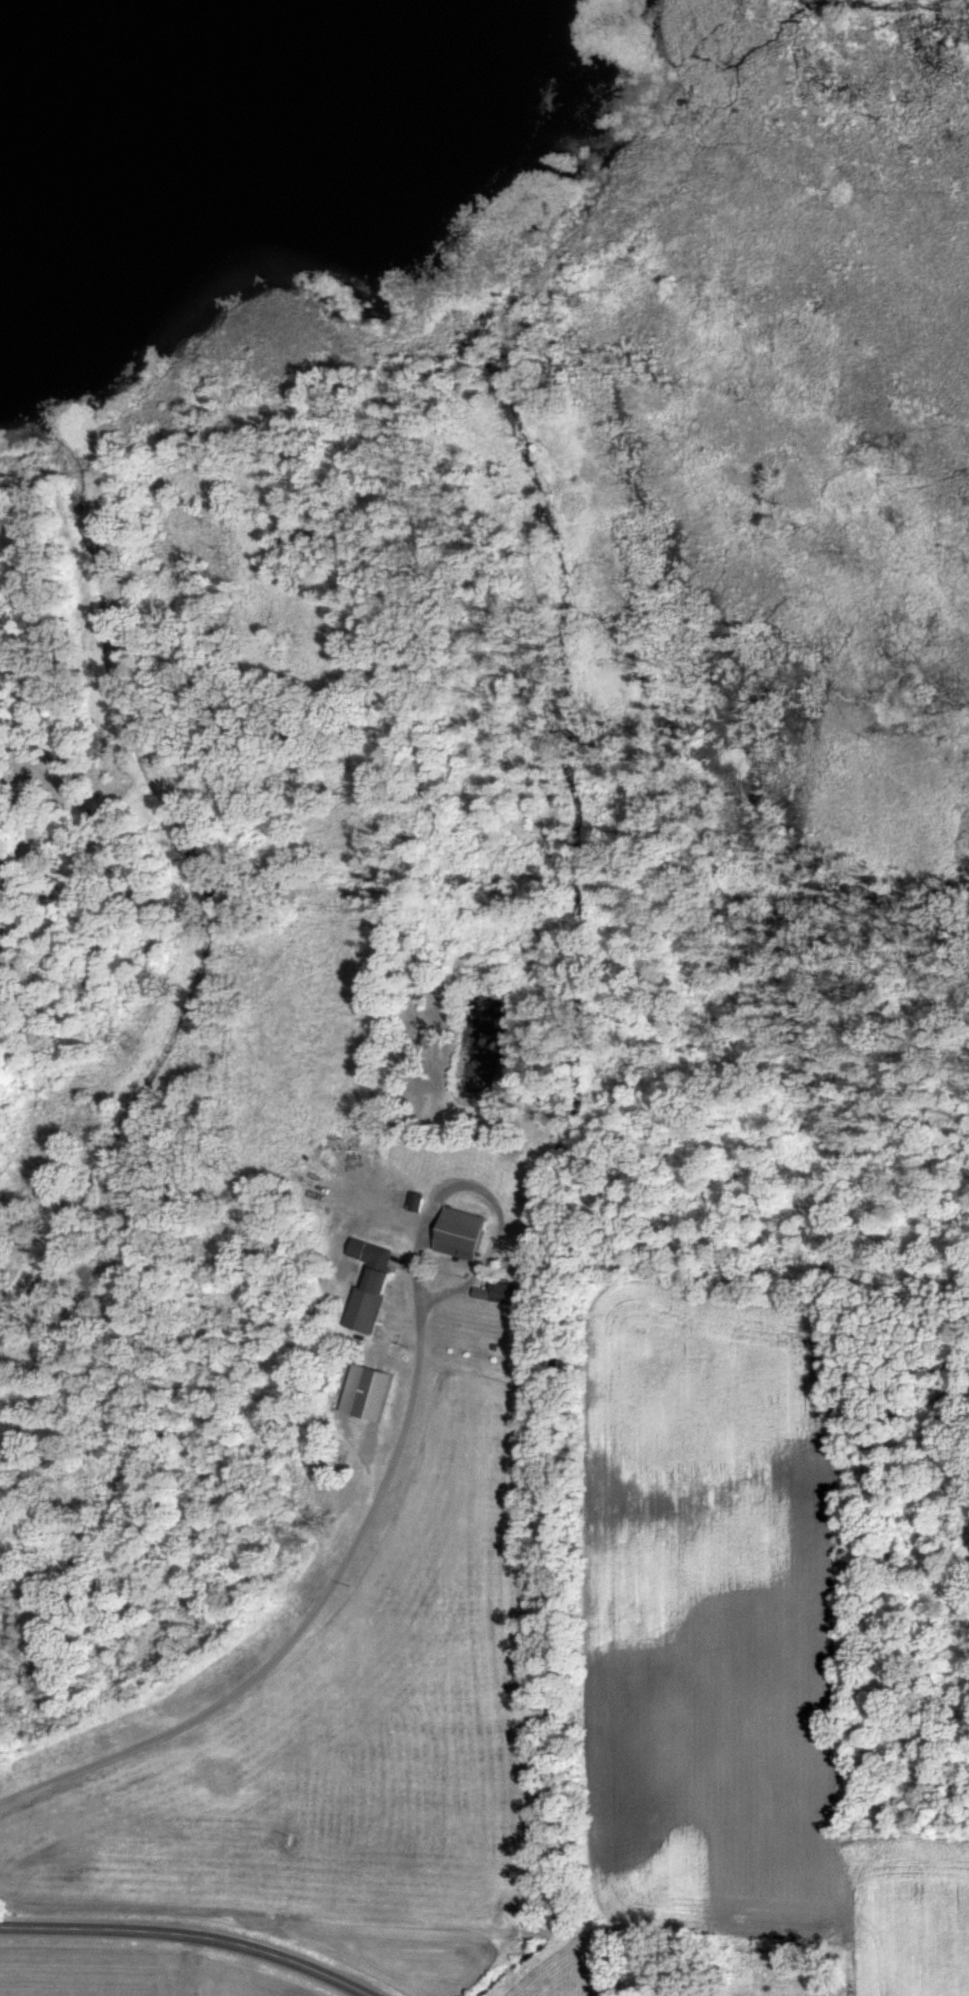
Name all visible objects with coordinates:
building: (462, 1234)
building: (368, 1284)
building: (510, 1293)
building: (375, 1394)
road: (195, 1933)
building: (855, 1993)

